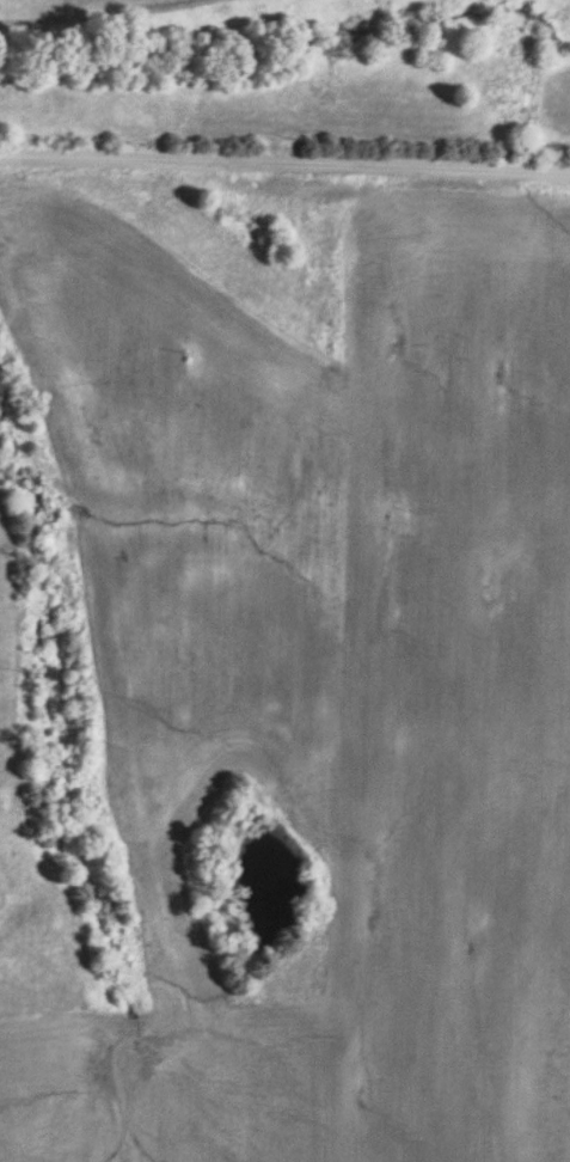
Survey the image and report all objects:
road: (284, 160)

